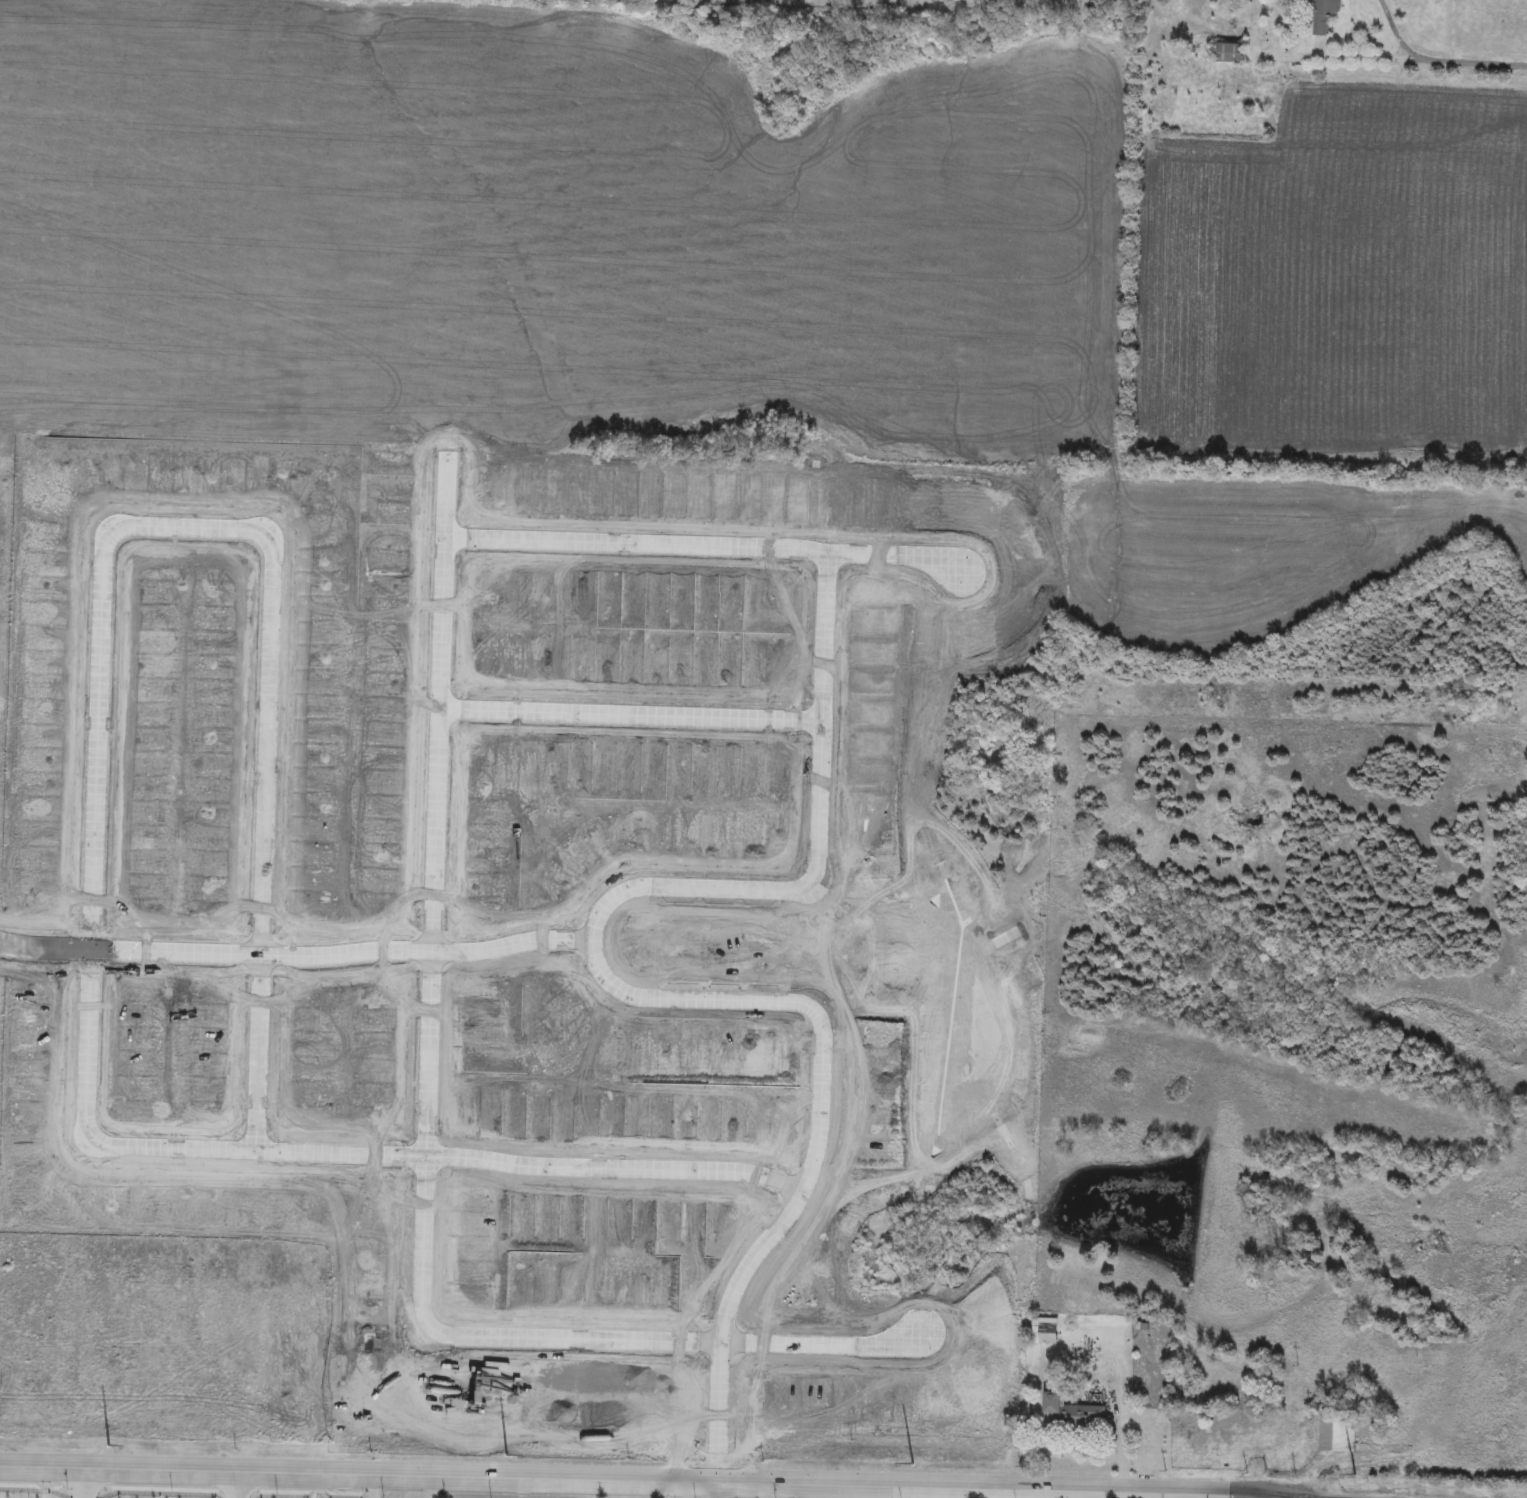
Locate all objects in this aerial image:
building: (1324, 15)
road: (1395, 31)
building: (1228, 54)
road: (1395, 62)
road: (271, 554)
road: (891, 560)
road: (440, 648)
road: (629, 716)
road: (594, 945)
road: (43, 953)
road: (97, 1147)
road: (807, 1174)
road: (818, 1347)
building: (1072, 1415)
building: (1336, 1435)
road: (628, 1480)
road: (84, 1483)
road: (237, 1485)
road: (374, 1486)
road: (715, 1490)
road: (1168, 1496)

